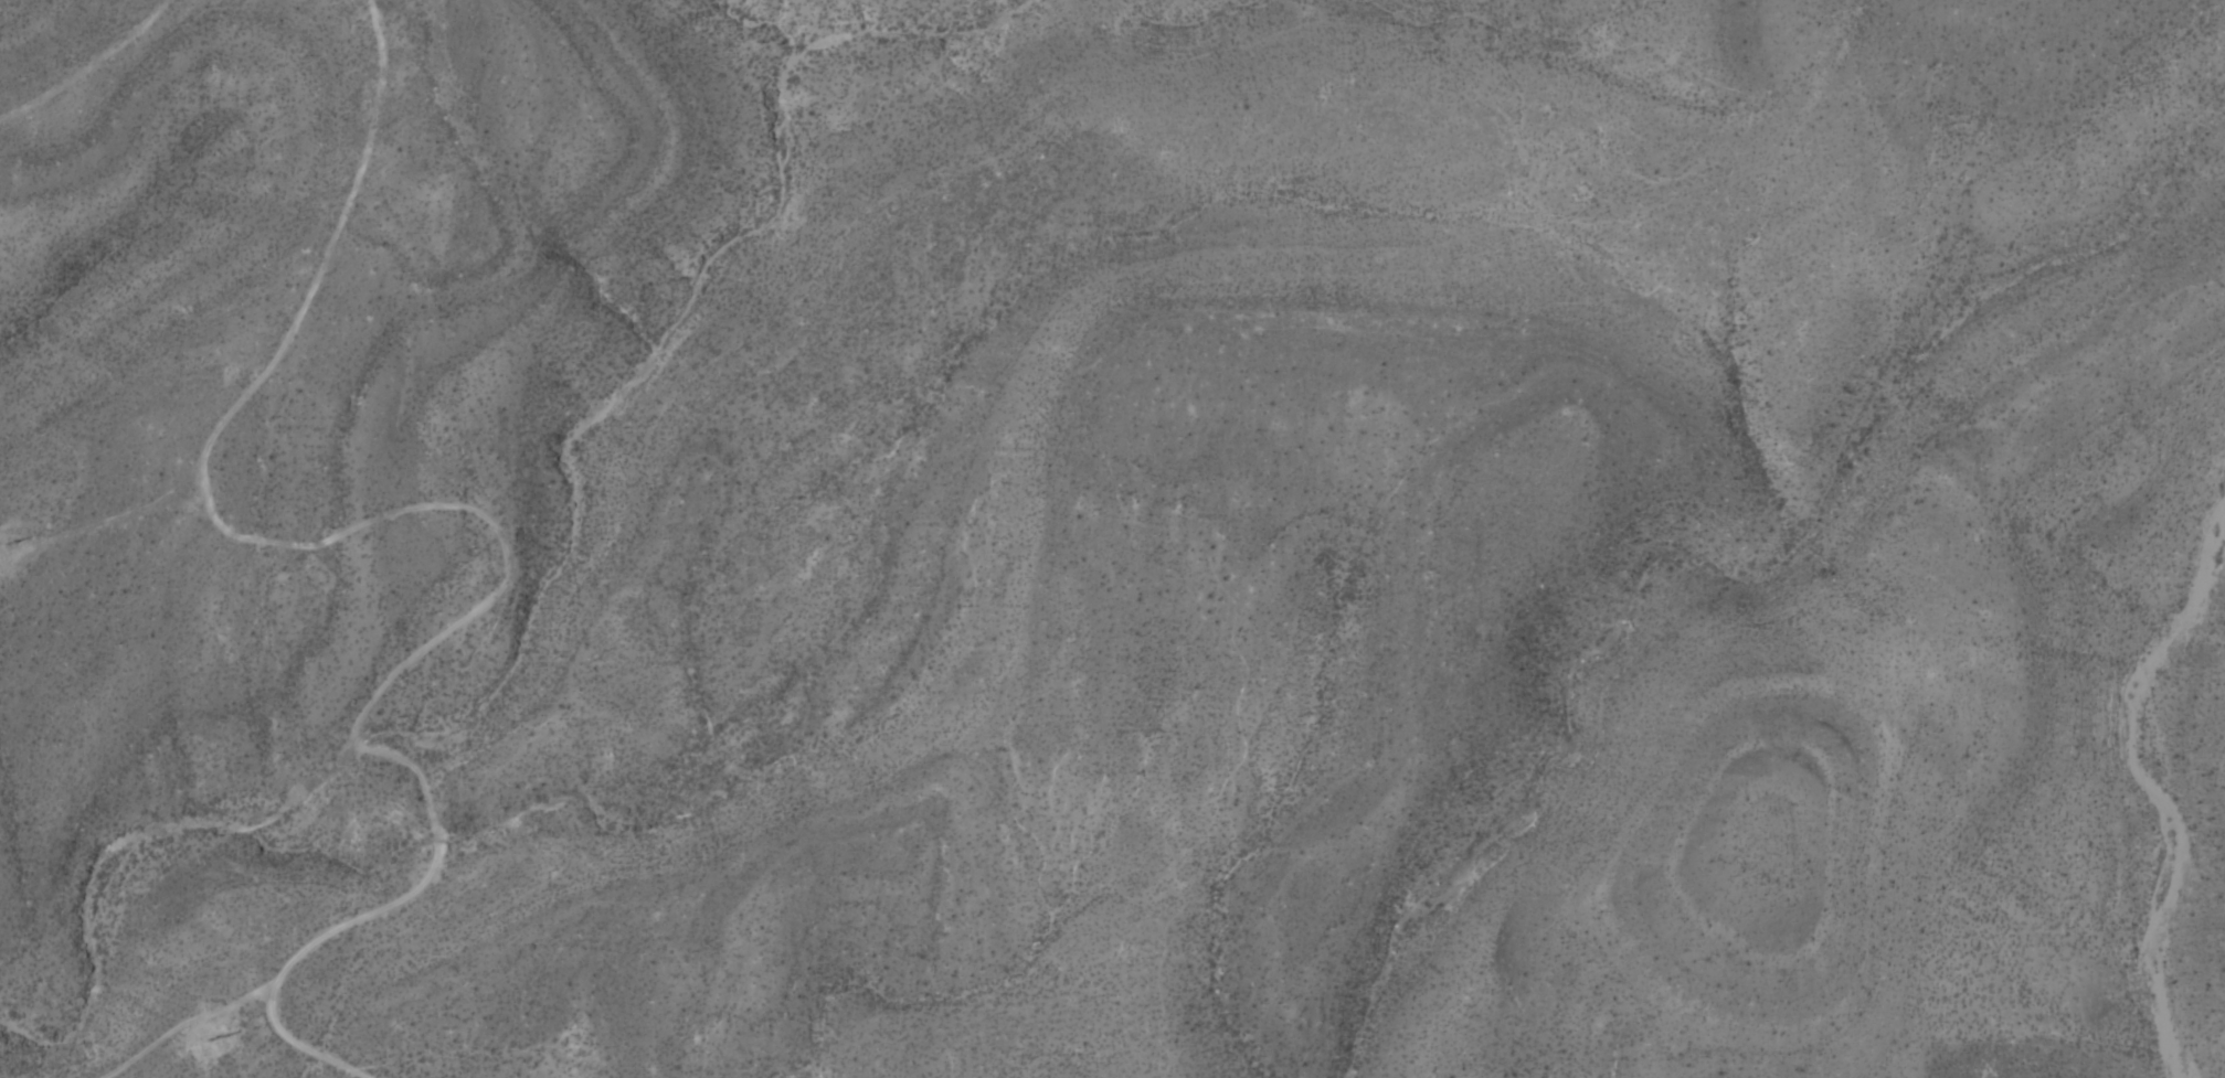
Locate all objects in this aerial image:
road: (1182, 339)
road: (473, 505)

